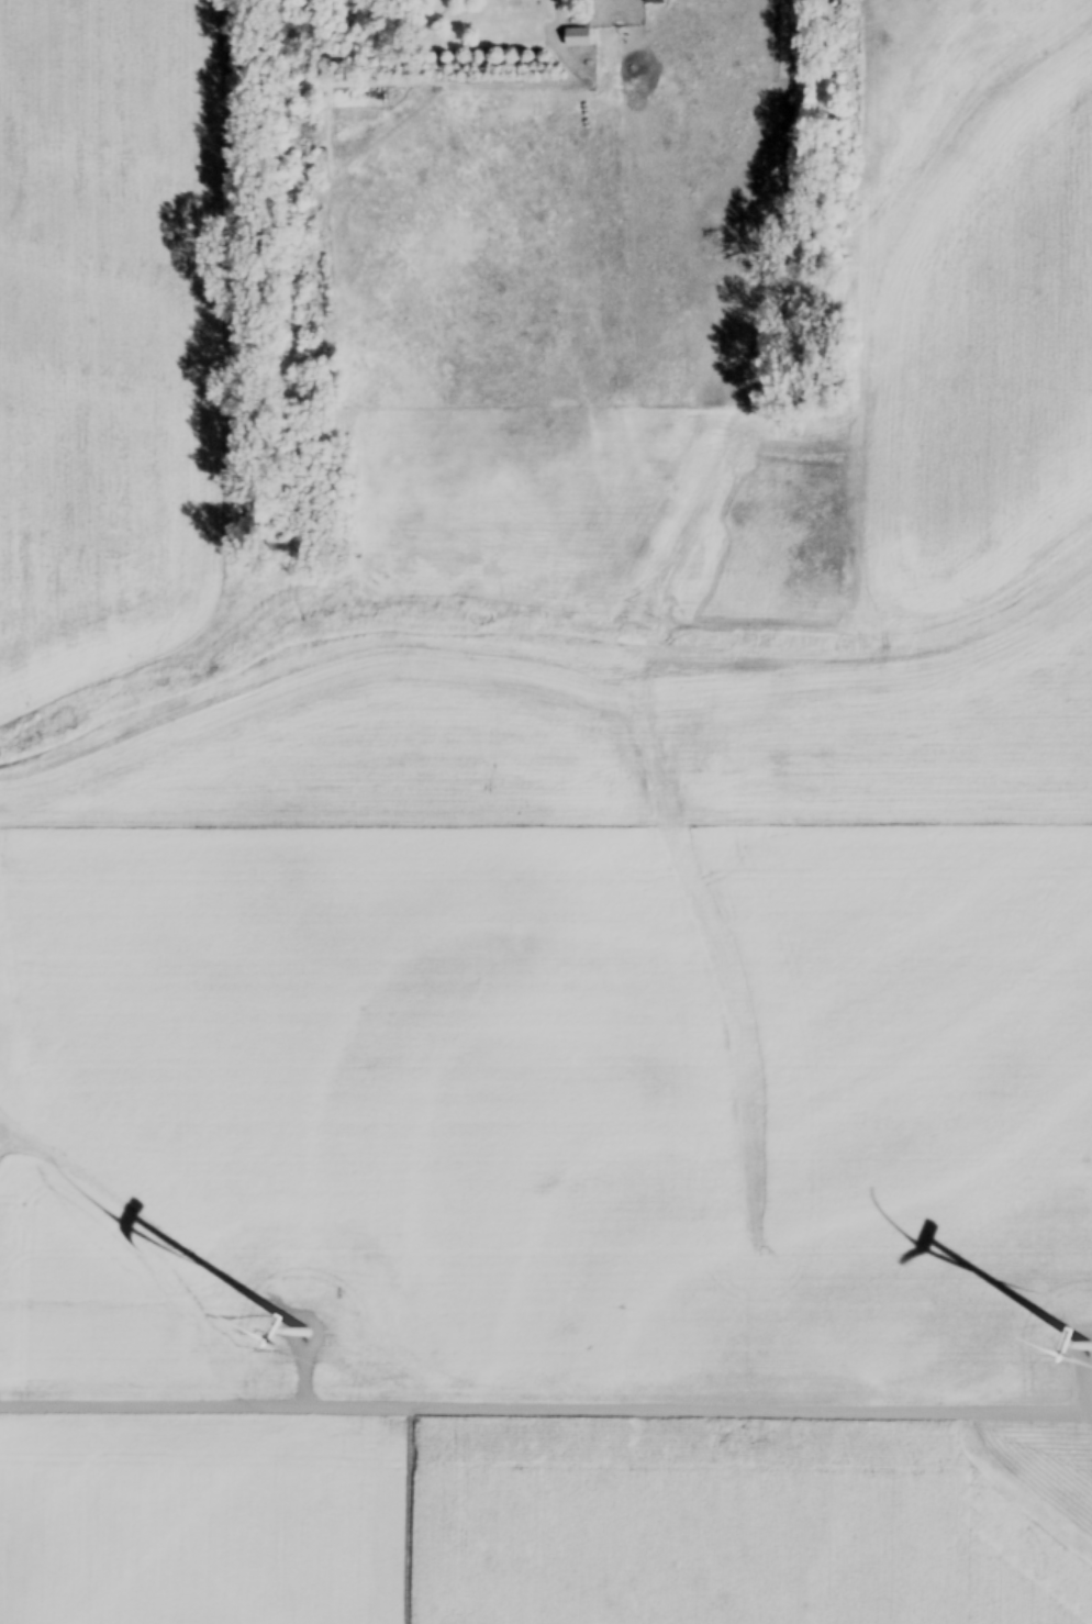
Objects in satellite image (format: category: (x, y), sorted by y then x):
building: (651, 2)
building: (576, 37)
wind turbine: (304, 1334)
wind turbine: (1082, 1349)

